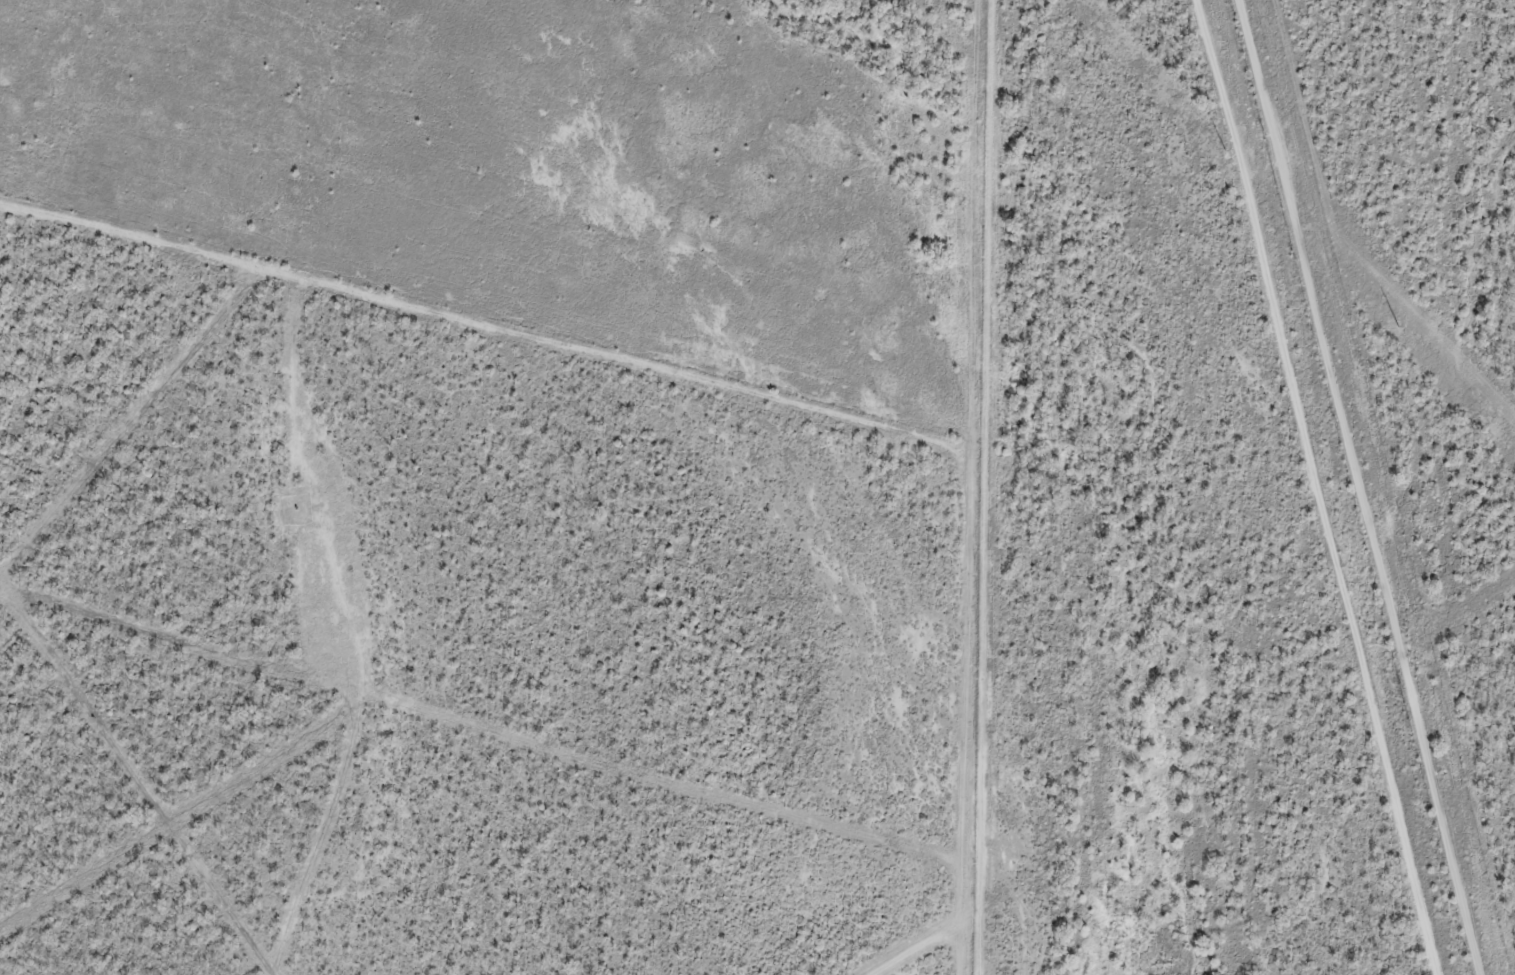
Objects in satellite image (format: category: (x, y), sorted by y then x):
power tower: (1234, 163)
power tower: (1398, 328)

